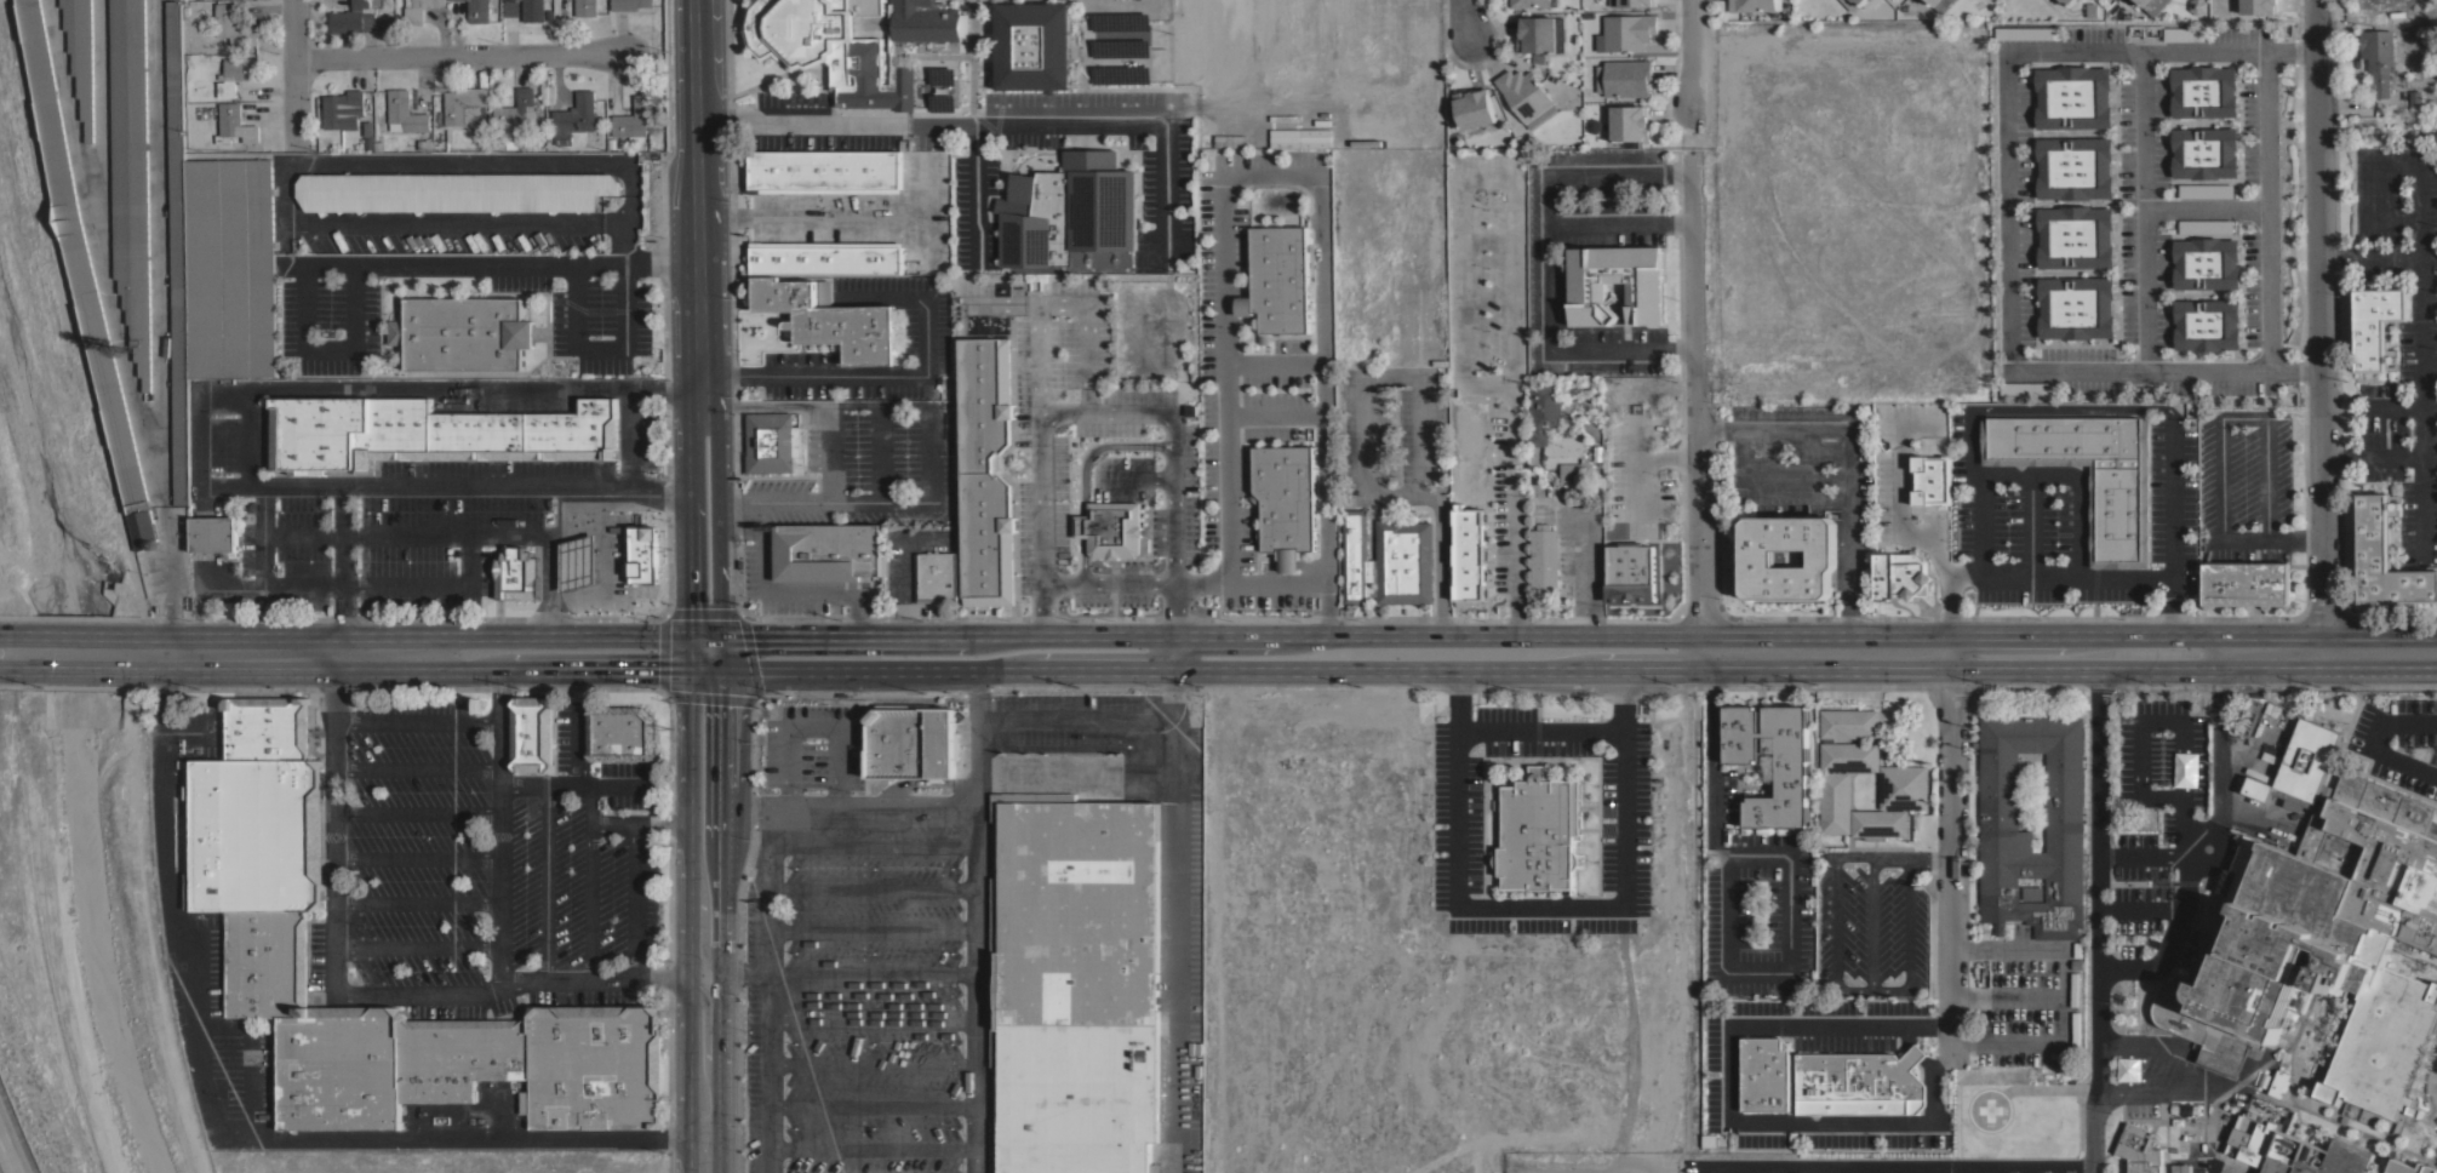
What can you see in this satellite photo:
building: (1933, 1)
building: (2067, 1)
building: (1532, 2)
building: (1631, 2)
building: (629, 4)
building: (1853, 4)
building: (1755, 5)
building: (2152, 5)
building: (2197, 6)
building: (2259, 6)
building: (585, 7)
building: (413, 10)
building: (532, 10)
road: (1691, 10)
building: (479, 11)
building: (354, 17)
road: (1457, 17)
building: (233, 25)
building: (1627, 32)
building: (1541, 34)
building: (853, 42)
building: (1032, 45)
building: (81, 55)
road: (457, 57)
building: (2378, 59)
road: (1689, 70)
road: (296, 71)
building: (235, 74)
building: (1623, 78)
building: (2202, 92)
building: (1526, 96)
building: (2072, 99)
building: (2415, 99)
building: (463, 104)
building: (1474, 108)
building: (342, 109)
building: (514, 110)
building: (405, 111)
building: (574, 118)
building: (634, 119)
road: (929, 120)
road: (101, 122)
building: (1629, 122)
building: (234, 125)
building: (1299, 136)
building: (1226, 141)
building: (2204, 154)
road: (297, 161)
road: (1592, 165)
building: (2073, 168)
building: (824, 171)
building: (131, 172)
road: (1292, 173)
road: (1166, 190)
building: (453, 191)
road: (976, 191)
road: (693, 202)
road: (2267, 206)
road: (2206, 207)
road: (2007, 208)
road: (2144, 208)
building: (1071, 213)
road: (808, 216)
road: (2389, 221)
building: (2073, 239)
road: (1512, 242)
road: (102, 251)
road: (156, 251)
building: (178, 256)
road: (2369, 256)
building: (826, 258)
road: (385, 262)
building: (2204, 265)
building: (229, 267)
building: (84, 273)
building: (1277, 280)
road: (2419, 282)
road: (1549, 285)
building: (1588, 291)
building: (825, 292)
road: (1063, 302)
building: (2075, 311)
parking lot: (595, 317)
building: (831, 320)
parking lot: (331, 322)
building: (2206, 325)
building: (2378, 326)
building: (462, 332)
road: (2322, 332)
road: (597, 348)
road: (1274, 361)
road: (891, 374)
road: (816, 406)
road: (2070, 406)
road: (1275, 411)
road: (1079, 412)
road: (1698, 414)
road: (246, 430)
building: (1538, 431)
building: (316, 433)
building: (485, 433)
road: (631, 433)
road: (198, 439)
building: (771, 442)
road: (2219, 446)
road: (830, 454)
road: (881, 454)
road: (933, 454)
road: (1848, 456)
road: (1667, 457)
road: (2419, 458)
road: (1637, 467)
building: (986, 471)
road: (2075, 474)
road: (1774, 475)
road: (1137, 476)
building: (1930, 479)
road: (1900, 492)
building: (2119, 497)
building: (1286, 500)
road: (824, 503)
parking lot: (424, 516)
road: (715, 517)
road: (2170, 522)
road: (2030, 525)
building: (1110, 528)
road: (576, 532)
building: (213, 534)
road: (404, 534)
road: (687, 536)
building: (641, 553)
building: (826, 553)
building: (1469, 555)
building: (1356, 556)
building: (1544, 557)
building: (1758, 557)
building: (2386, 557)
road: (261, 559)
road: (342, 559)
road: (467, 559)
gas station: (576, 560)
building: (576, 561)
road: (900, 561)
building: (1403, 561)
road: (602, 566)
road: (172, 567)
road: (1579, 567)
building: (1644, 567)
building: (516, 573)
building: (1900, 574)
road: (1992, 576)
building: (936, 577)
building: (2246, 582)
road: (364, 583)
road: (1108, 583)
road: (548, 585)
road: (1951, 590)
road: (783, 596)
road: (1174, 608)
road: (16, 633)
road: (79, 633)
road: (1806, 633)
road: (422, 635)
road: (788, 635)
road: (1039, 636)
road: (880, 637)
road: (1173, 648)
road: (1741, 665)
road: (865, 666)
road: (408, 669)
road: (18, 670)
road: (84, 670)
road: (1172, 692)
building: (1575, 697)
road: (1454, 698)
road: (1624, 698)
road: (1011, 717)
road: (414, 720)
road: (2168, 720)
building: (1849, 723)
parking lot: (206, 727)
building: (267, 727)
road: (810, 728)
building: (532, 733)
building: (620, 733)
parking lot: (2398, 740)
road: (577, 743)
building: (911, 743)
building: (1849, 756)
road: (1714, 762)
road: (414, 766)
building: (1792, 768)
road: (1150, 777)
road: (577, 783)
building: (1904, 786)
building: (2061, 795)
building: (1835, 802)
road: (847, 806)
road: (416, 811)
road: (636, 819)
building: (1878, 823)
parking lot: (1455, 825)
road: (499, 826)
building: (1538, 831)
parking lot: (2151, 831)
building: (256, 834)
road: (871, 842)
road: (2193, 846)
road: (416, 856)
road: (2139, 857)
road: (1892, 858)
road: (1952, 860)
parking lot: (484, 865)
road: (721, 880)
road: (545, 881)
road: (589, 881)
road: (871, 887)
road: (635, 898)
road: (1618, 898)
road: (416, 899)
parking lot: (1752, 902)
road: (2096, 916)
road: (702, 919)
road: (686, 921)
road: (1832, 921)
road: (1873, 922)
parking lot: (1870, 923)
road: (1911, 923)
road: (870, 926)
building: (2323, 929)
parking lot: (974, 937)
road: (416, 944)
road: (1173, 945)
building: (267, 963)
parking lot: (208, 966)
road: (745, 968)
road: (1789, 971)
road: (871, 972)
building: (1075, 984)
road: (1871, 988)
road: (347, 992)
road: (2008, 995)
parking lot: (1926, 996)
road: (2065, 996)
road: (768, 1007)
road: (972, 1007)
road: (870, 1014)
road: (1928, 1026)
road: (705, 1029)
road: (1912, 1049)
road: (248, 1053)
building: (458, 1055)
building: (1913, 1055)
road: (870, 1060)
road: (1943, 1060)
building: (594, 1066)
building: (339, 1068)
building: (1764, 1074)
parking lot: (248, 1077)
parking lot: (1721, 1083)
building: (1857, 1083)
parking lot: (2432, 1099)
road: (870, 1104)
helipad: (1987, 1109)
road: (1731, 1117)
building: (2186, 1135)
road: (262, 1139)
building: (1709, 1139)
road: (870, 1145)
road: (719, 1150)
building: (2139, 1150)
building: (2296, 1152)
road: (8, 1154)
parking lot: (1773, 1165)
building: (2410, 1167)
building: (2180, 1168)
road: (1898, 1169)
road: (2092, 1169)
road: (1705, 1171)
road: (1817, 1171)
road: (1870, 1171)
road: (1924, 1171)
road: (1984, 1171)
road: (1761, 1172)
road: (2219, 1172)

